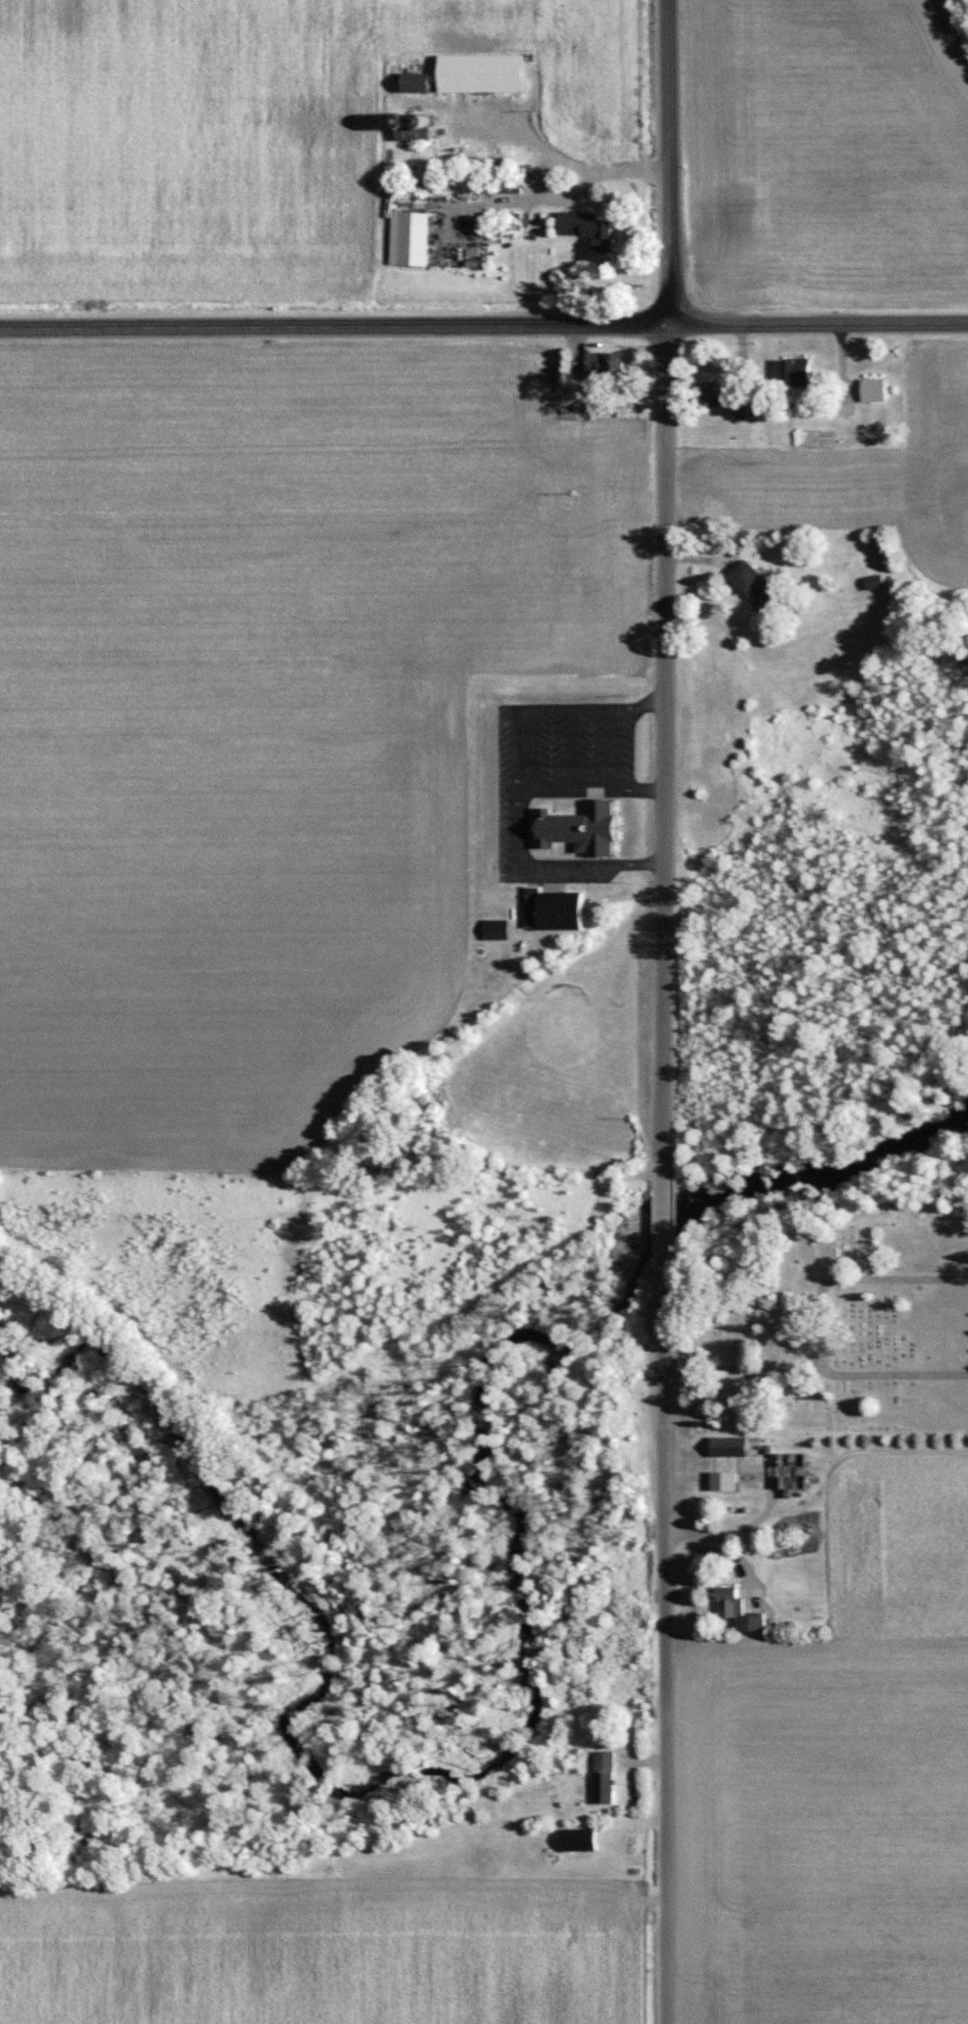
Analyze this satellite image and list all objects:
building: (480, 73)
building: (414, 83)
building: (412, 128)
road: (666, 161)
road: (575, 163)
building: (586, 228)
building: (412, 238)
road: (483, 325)
building: (604, 364)
building: (796, 370)
building: (872, 389)
building: (726, 397)
building: (873, 582)
building: (753, 584)
road: (665, 754)
building: (579, 828)
building: (553, 909)
building: (496, 929)
road: (663, 1219)
park: (836, 1331)
road: (663, 1341)
building: (728, 1459)
building: (793, 1470)
building: (739, 1611)
river: (533, 1697)
road: (667, 1726)
building: (604, 1777)
building: (577, 1840)

